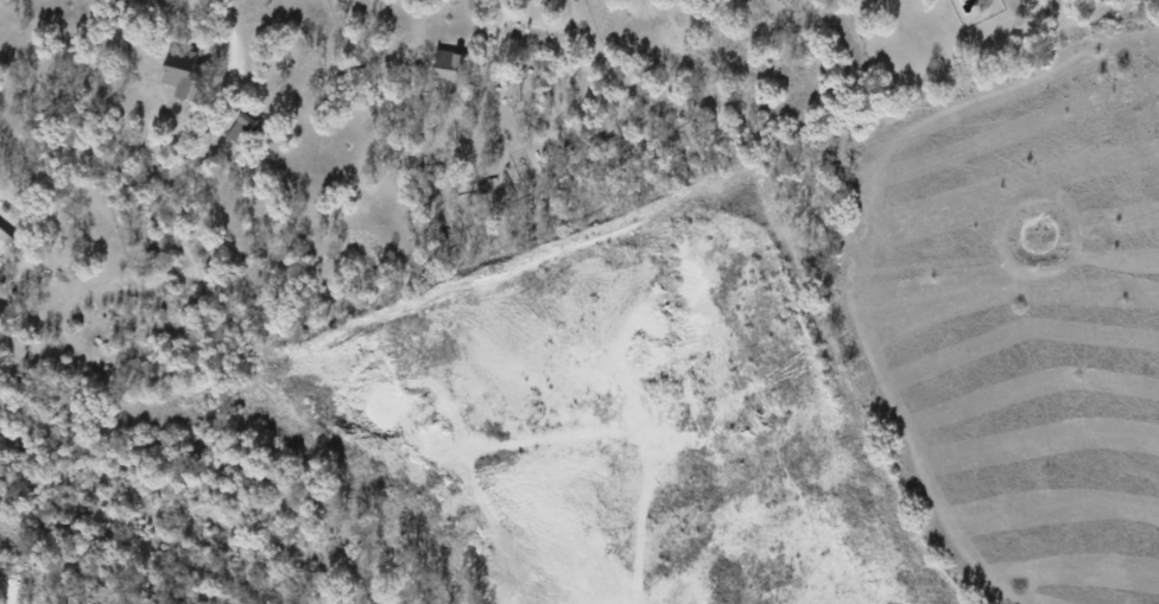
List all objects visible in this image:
road: (517, 15)
road: (228, 26)
building: (446, 65)
building: (182, 70)
building: (240, 128)
building: (4, 239)
quarry: (501, 450)

